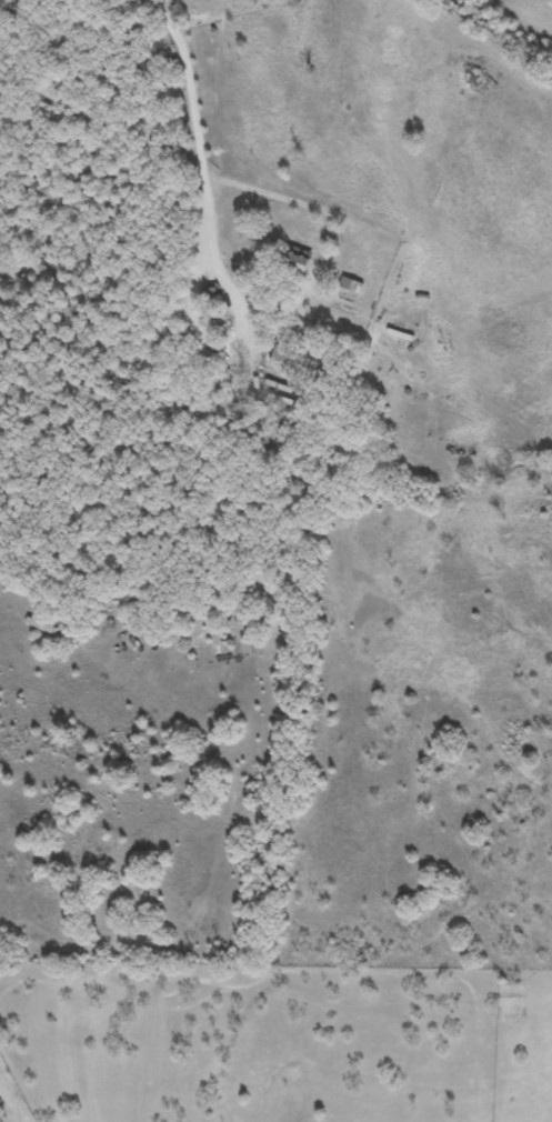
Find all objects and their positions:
road: (198, 126)
building: (297, 259)
building: (348, 289)
building: (284, 352)

